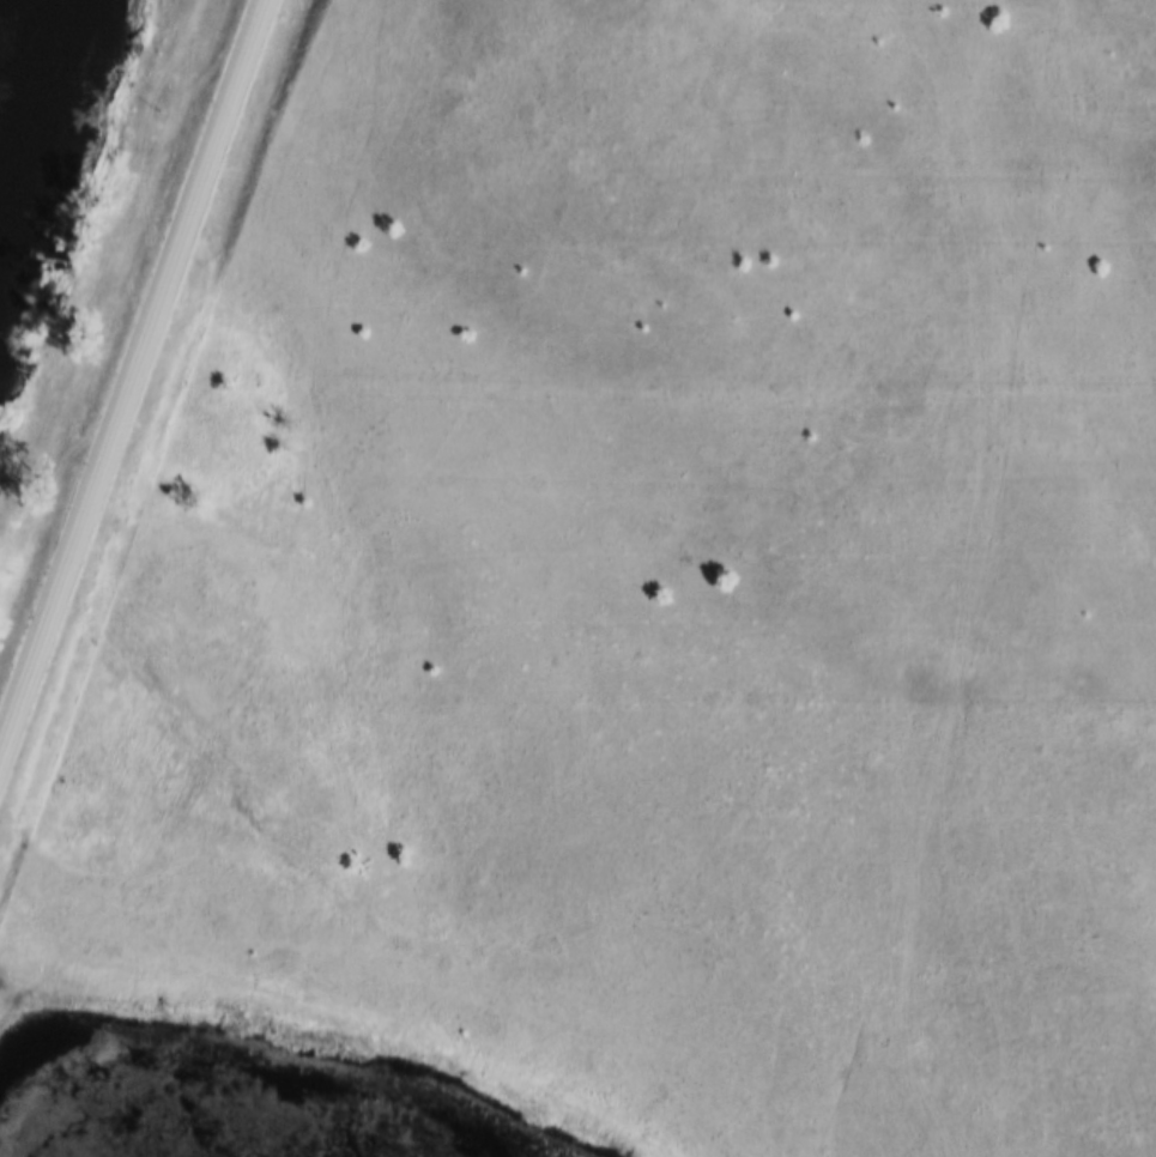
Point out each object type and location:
road: (133, 372)

